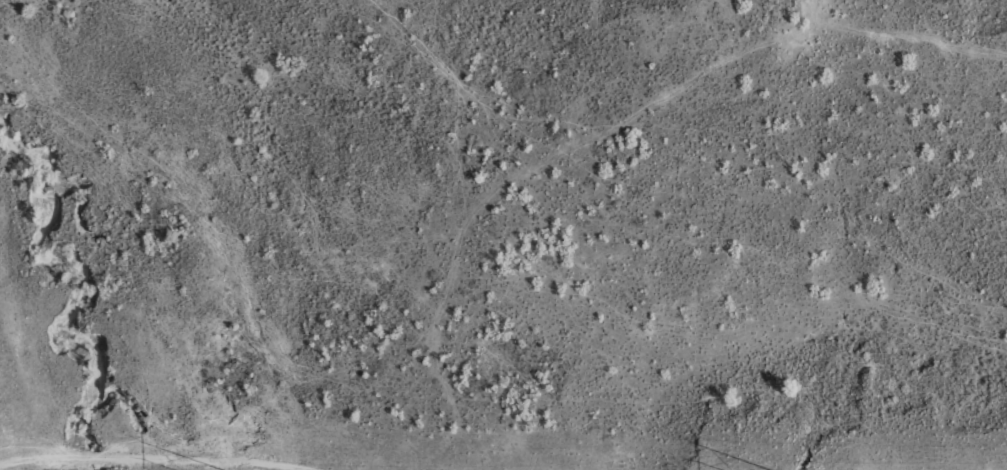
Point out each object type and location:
road: (404, 368)

